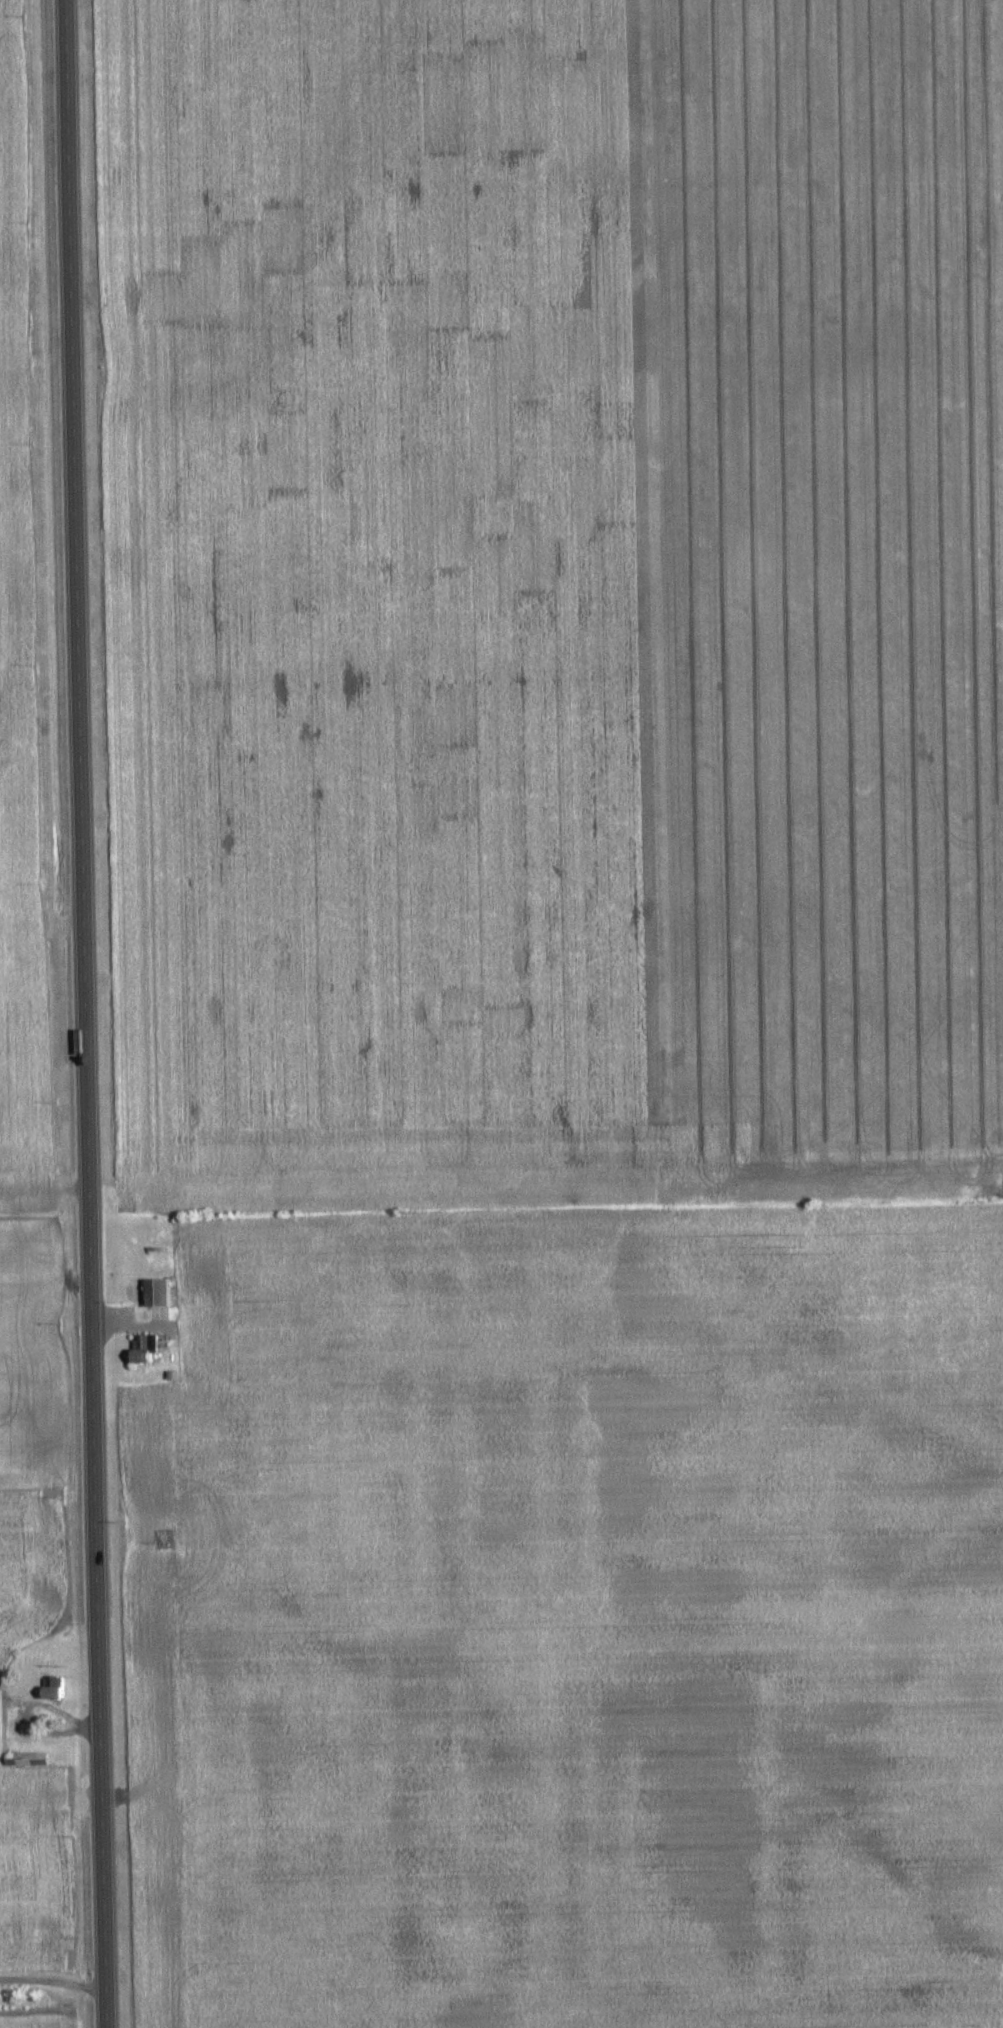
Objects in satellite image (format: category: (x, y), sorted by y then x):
crop: (552, 600)
crop: (16, 688)
road: (86, 1014)
building: (159, 1293)
crop: (28, 1464)
crop: (573, 1619)
crop: (29, 1863)
road: (53, 1982)
crop: (37, 2023)

